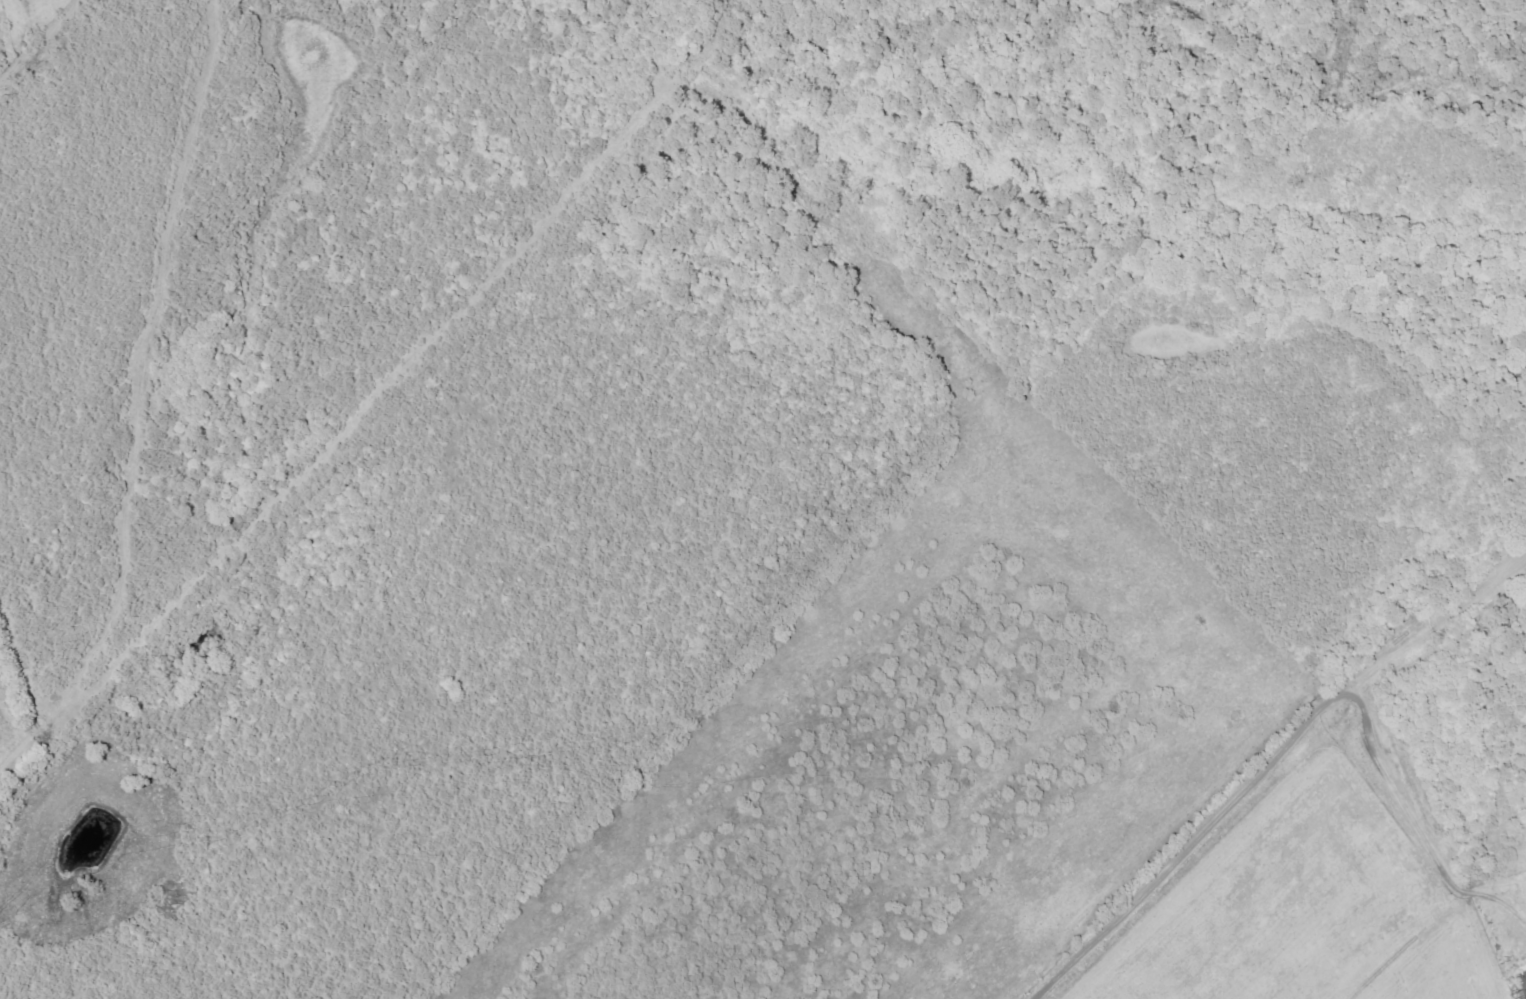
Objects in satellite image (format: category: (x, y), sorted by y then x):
road: (1432, 625)
road: (1299, 733)
building: (1518, 986)

